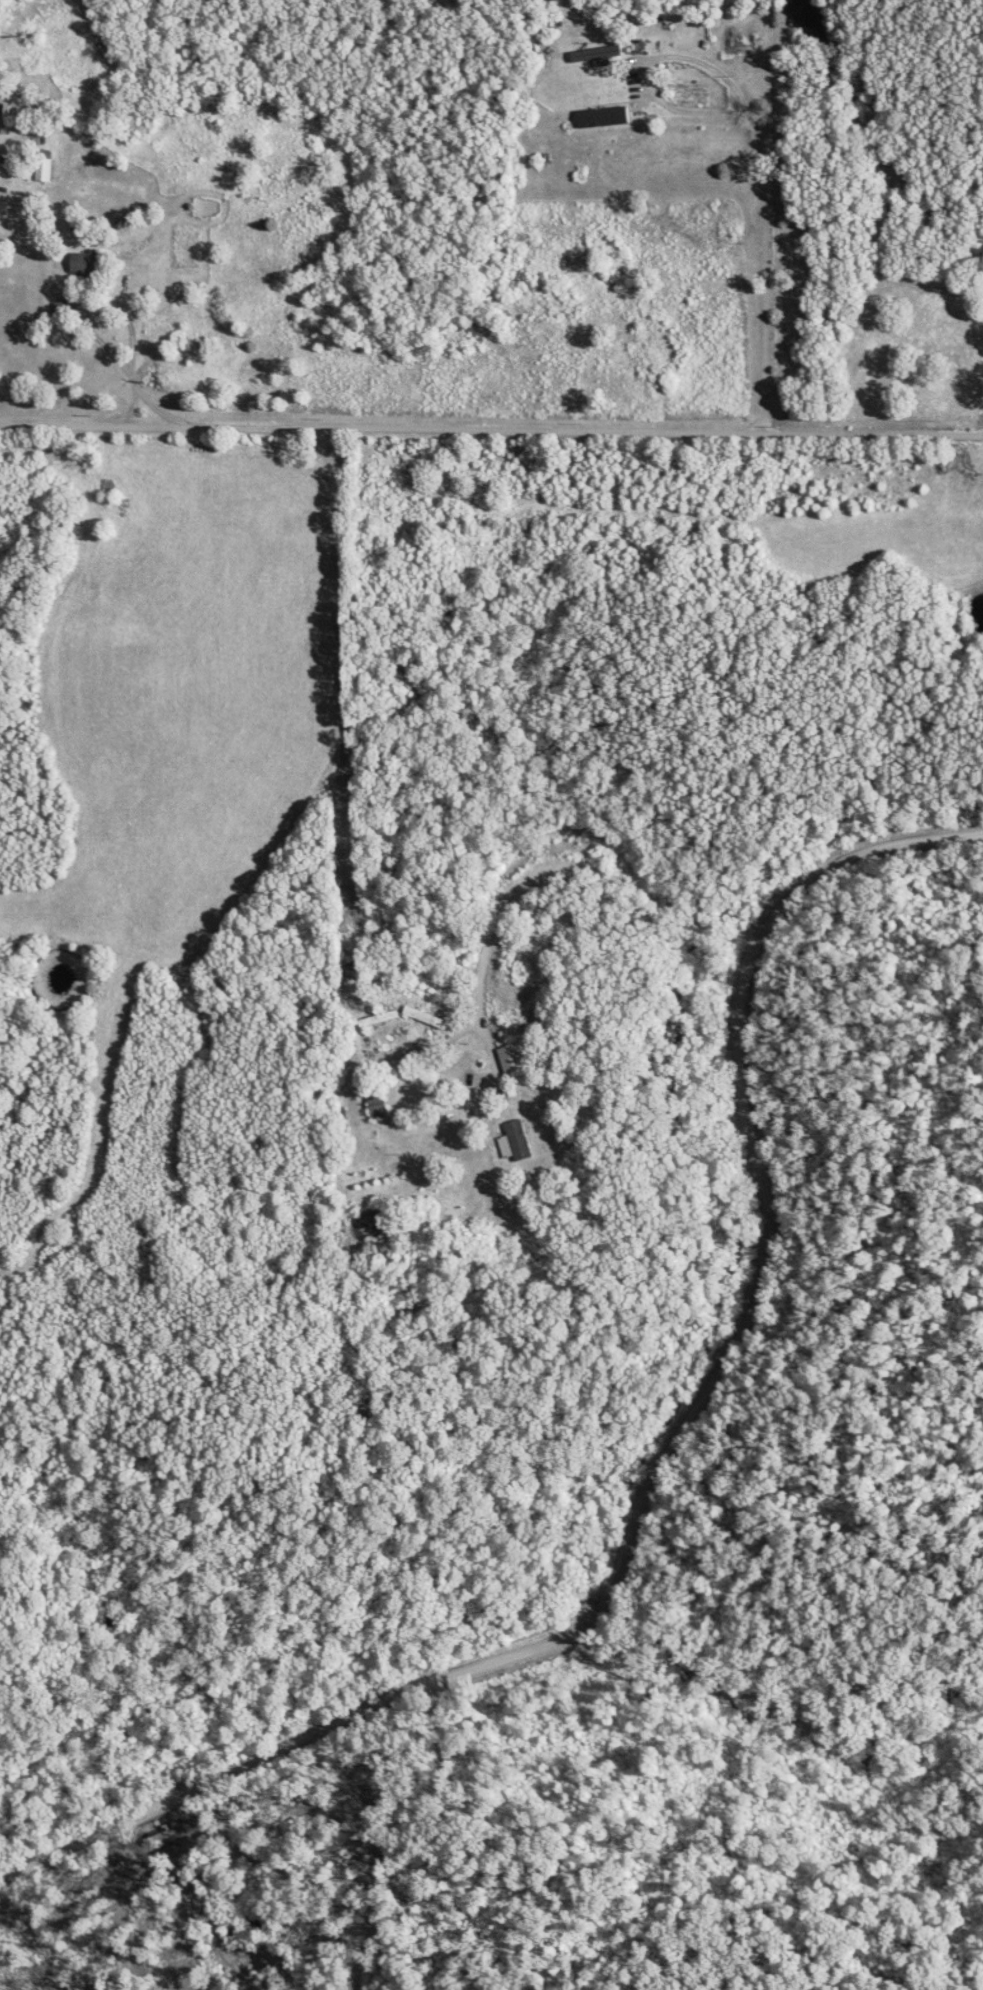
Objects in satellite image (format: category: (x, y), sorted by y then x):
road: (655, 55)
building: (605, 56)
building: (608, 118)
building: (91, 264)
road: (766, 272)
road: (138, 358)
road: (382, 428)
road: (874, 432)
road: (540, 833)
building: (515, 1059)
building: (517, 1147)
road: (666, 1464)

